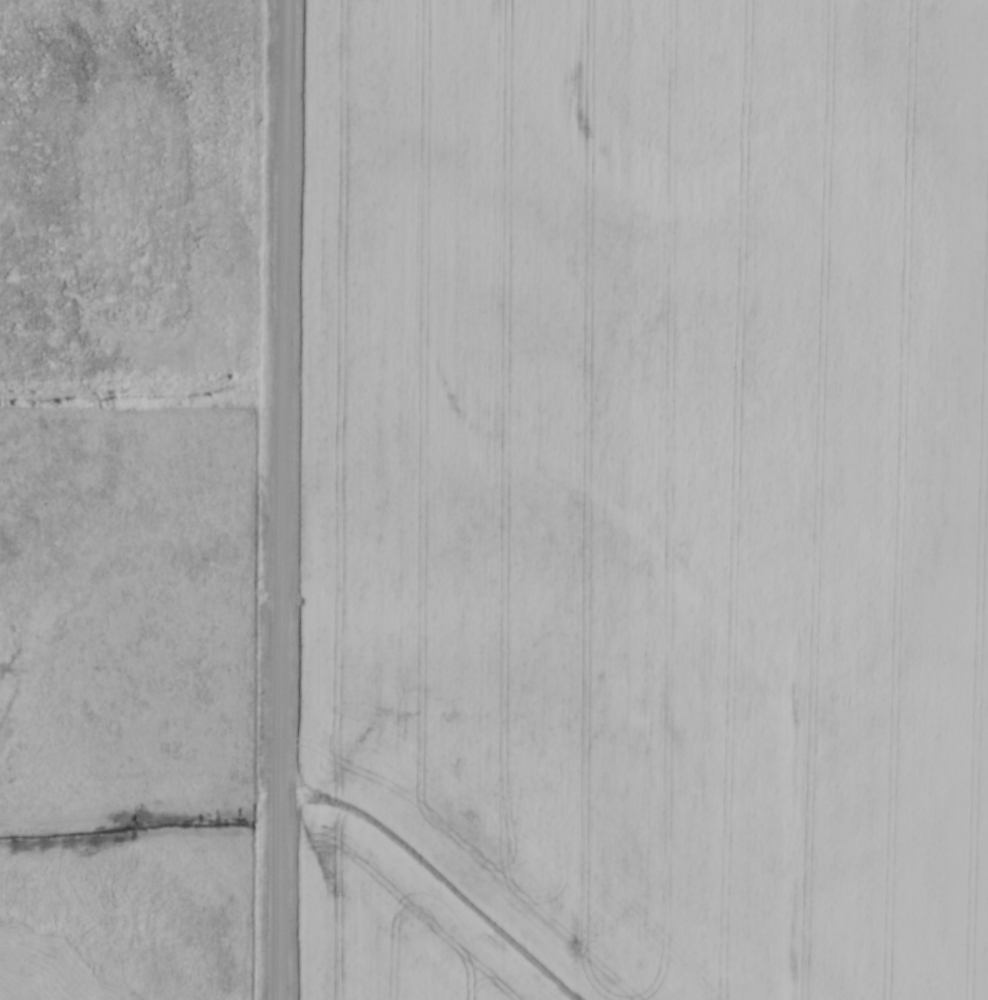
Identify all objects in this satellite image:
road: (283, 500)

